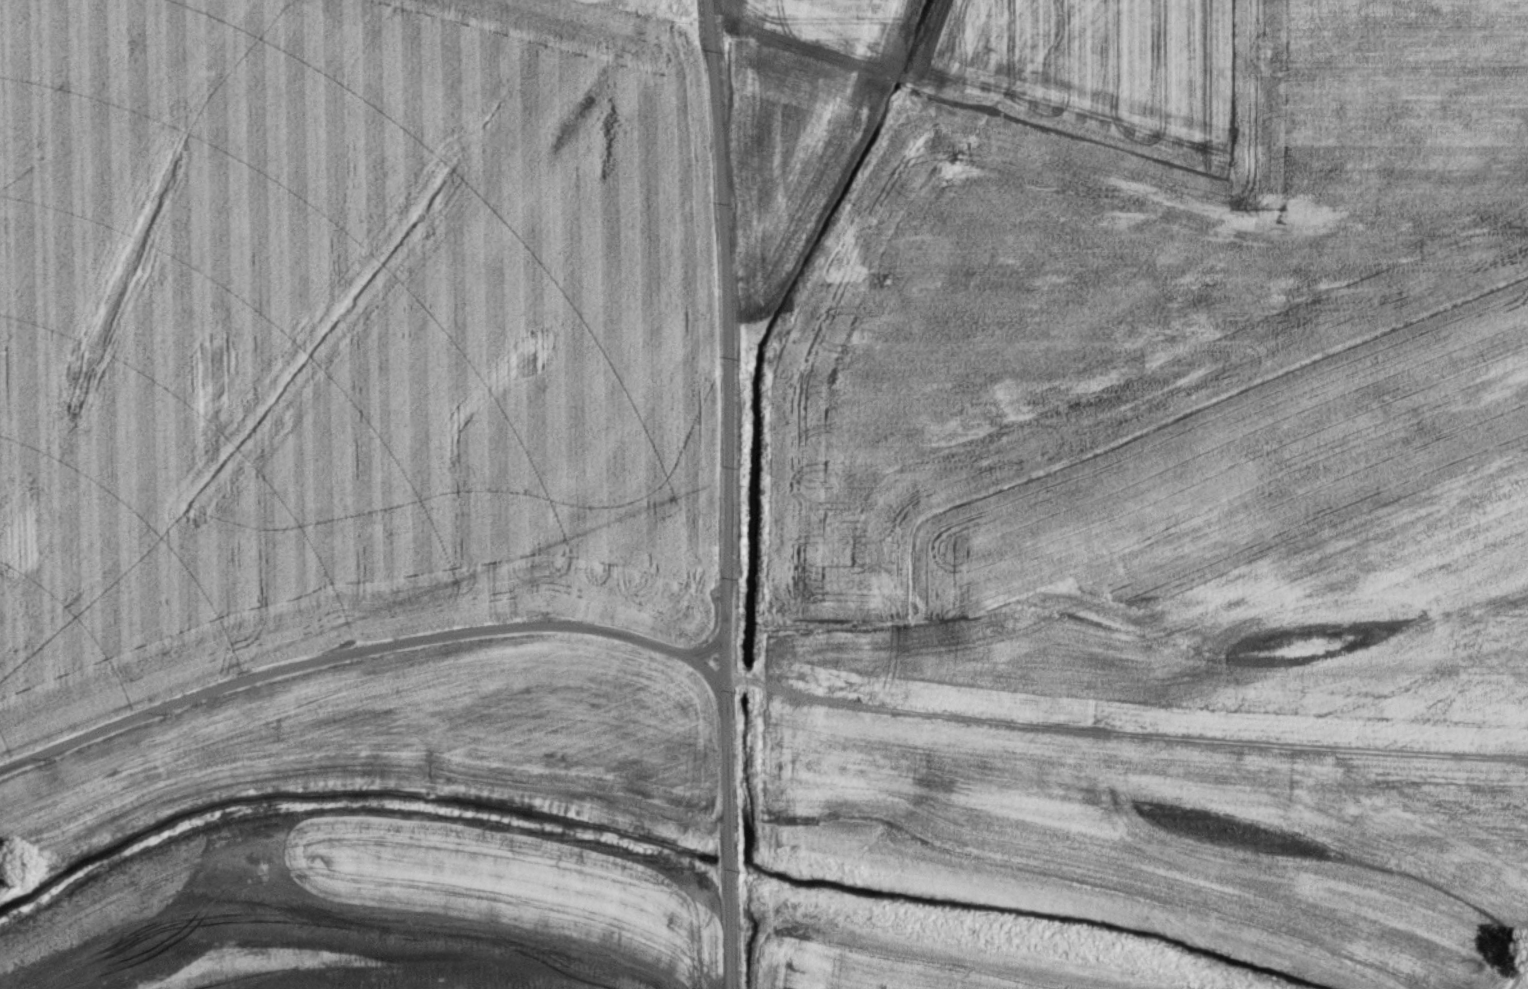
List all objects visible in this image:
road: (725, 494)
road: (708, 641)
road: (366, 647)

